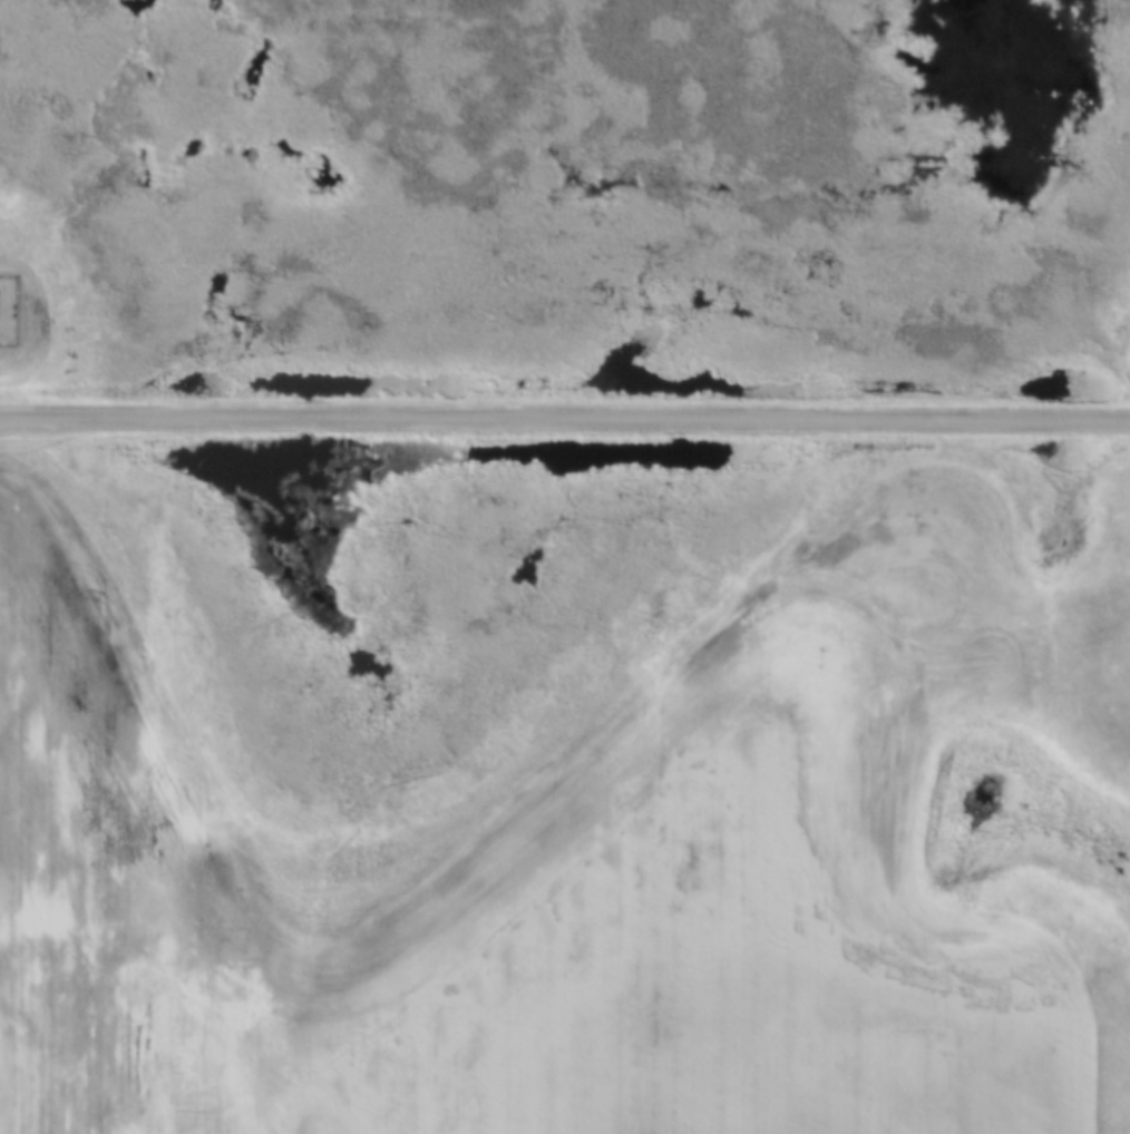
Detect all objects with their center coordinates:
power substation: (6, 312)
road: (564, 417)

